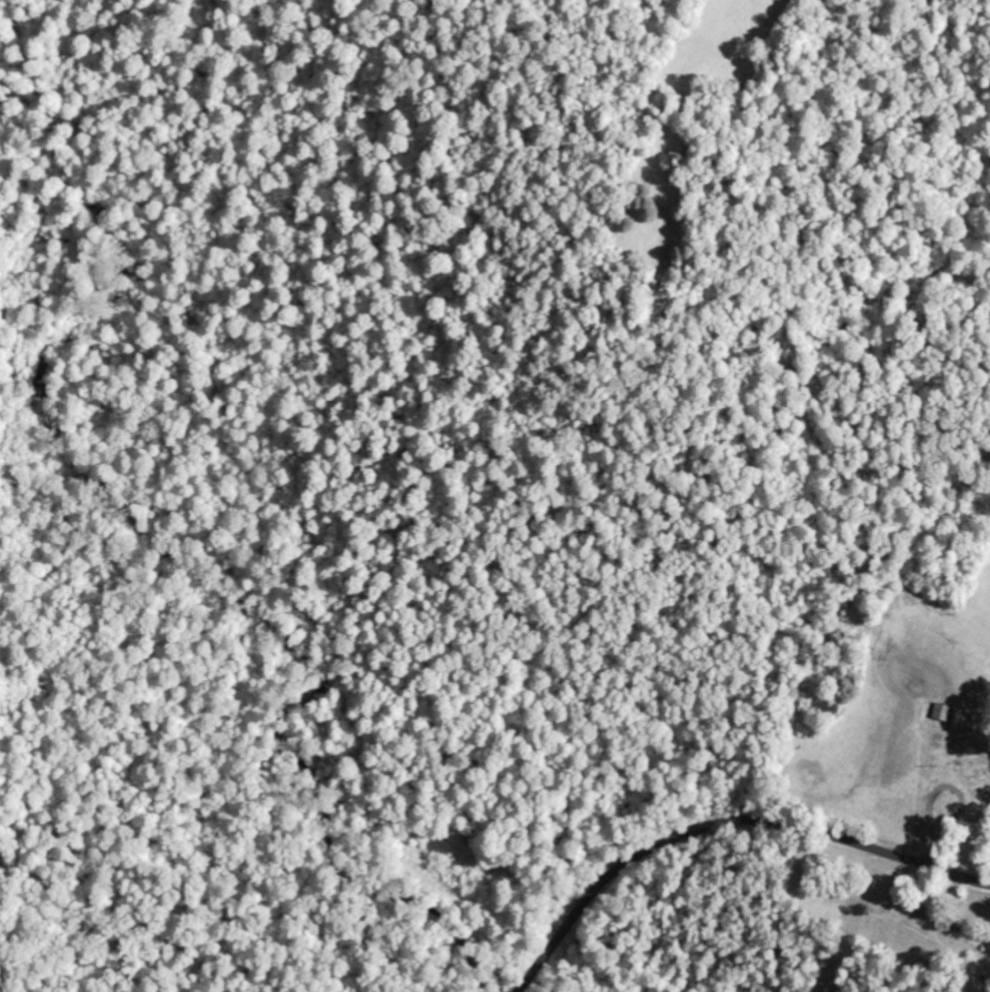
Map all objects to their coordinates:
building: (940, 714)
building: (978, 776)
road: (726, 828)

